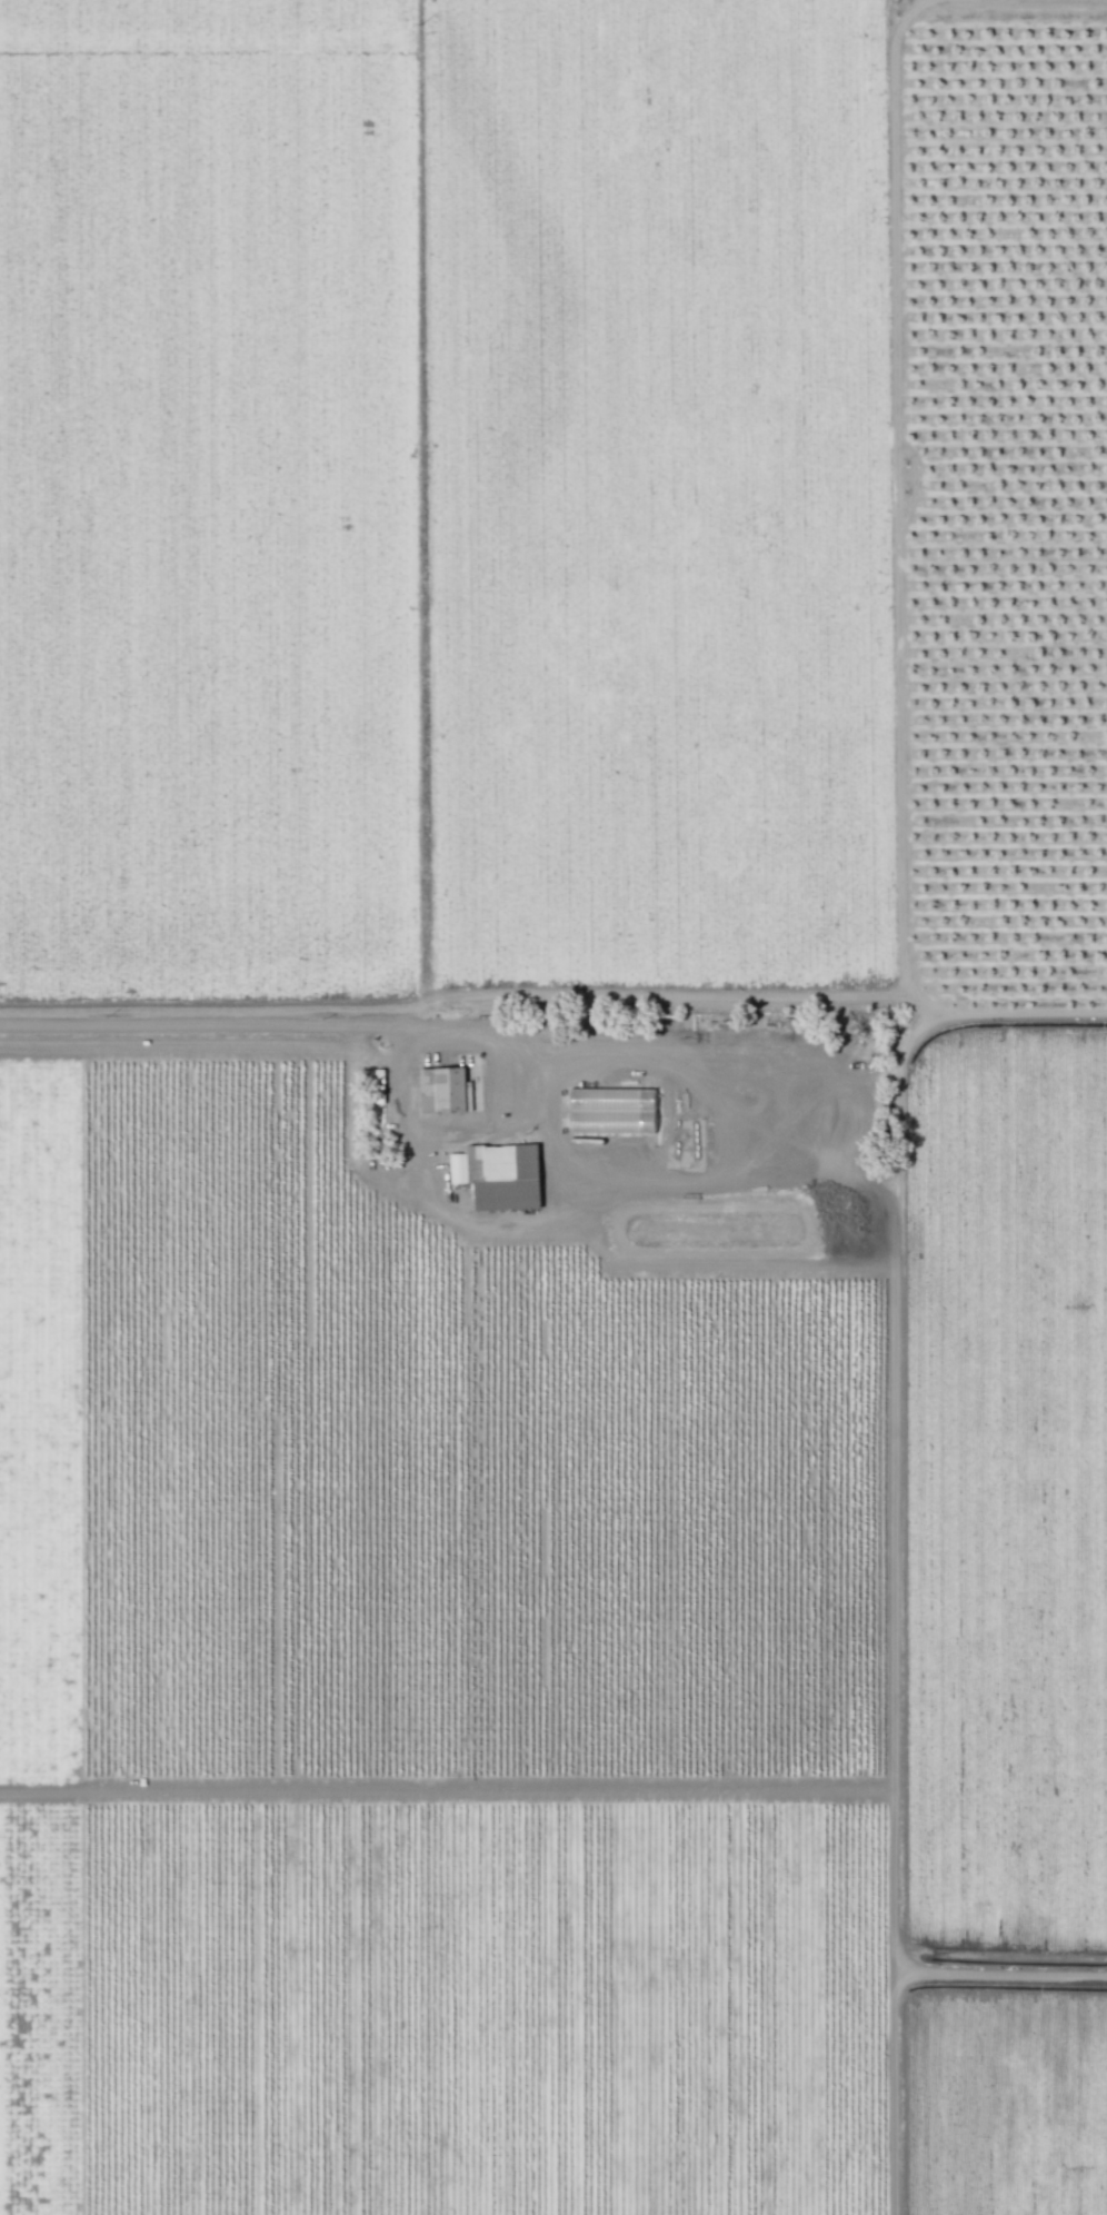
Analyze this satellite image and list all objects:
road: (745, 997)
road: (203, 1026)
building: (441, 1090)
road: (493, 1123)
road: (555, 1155)
road: (755, 1172)
building: (500, 1175)
road: (891, 1629)

